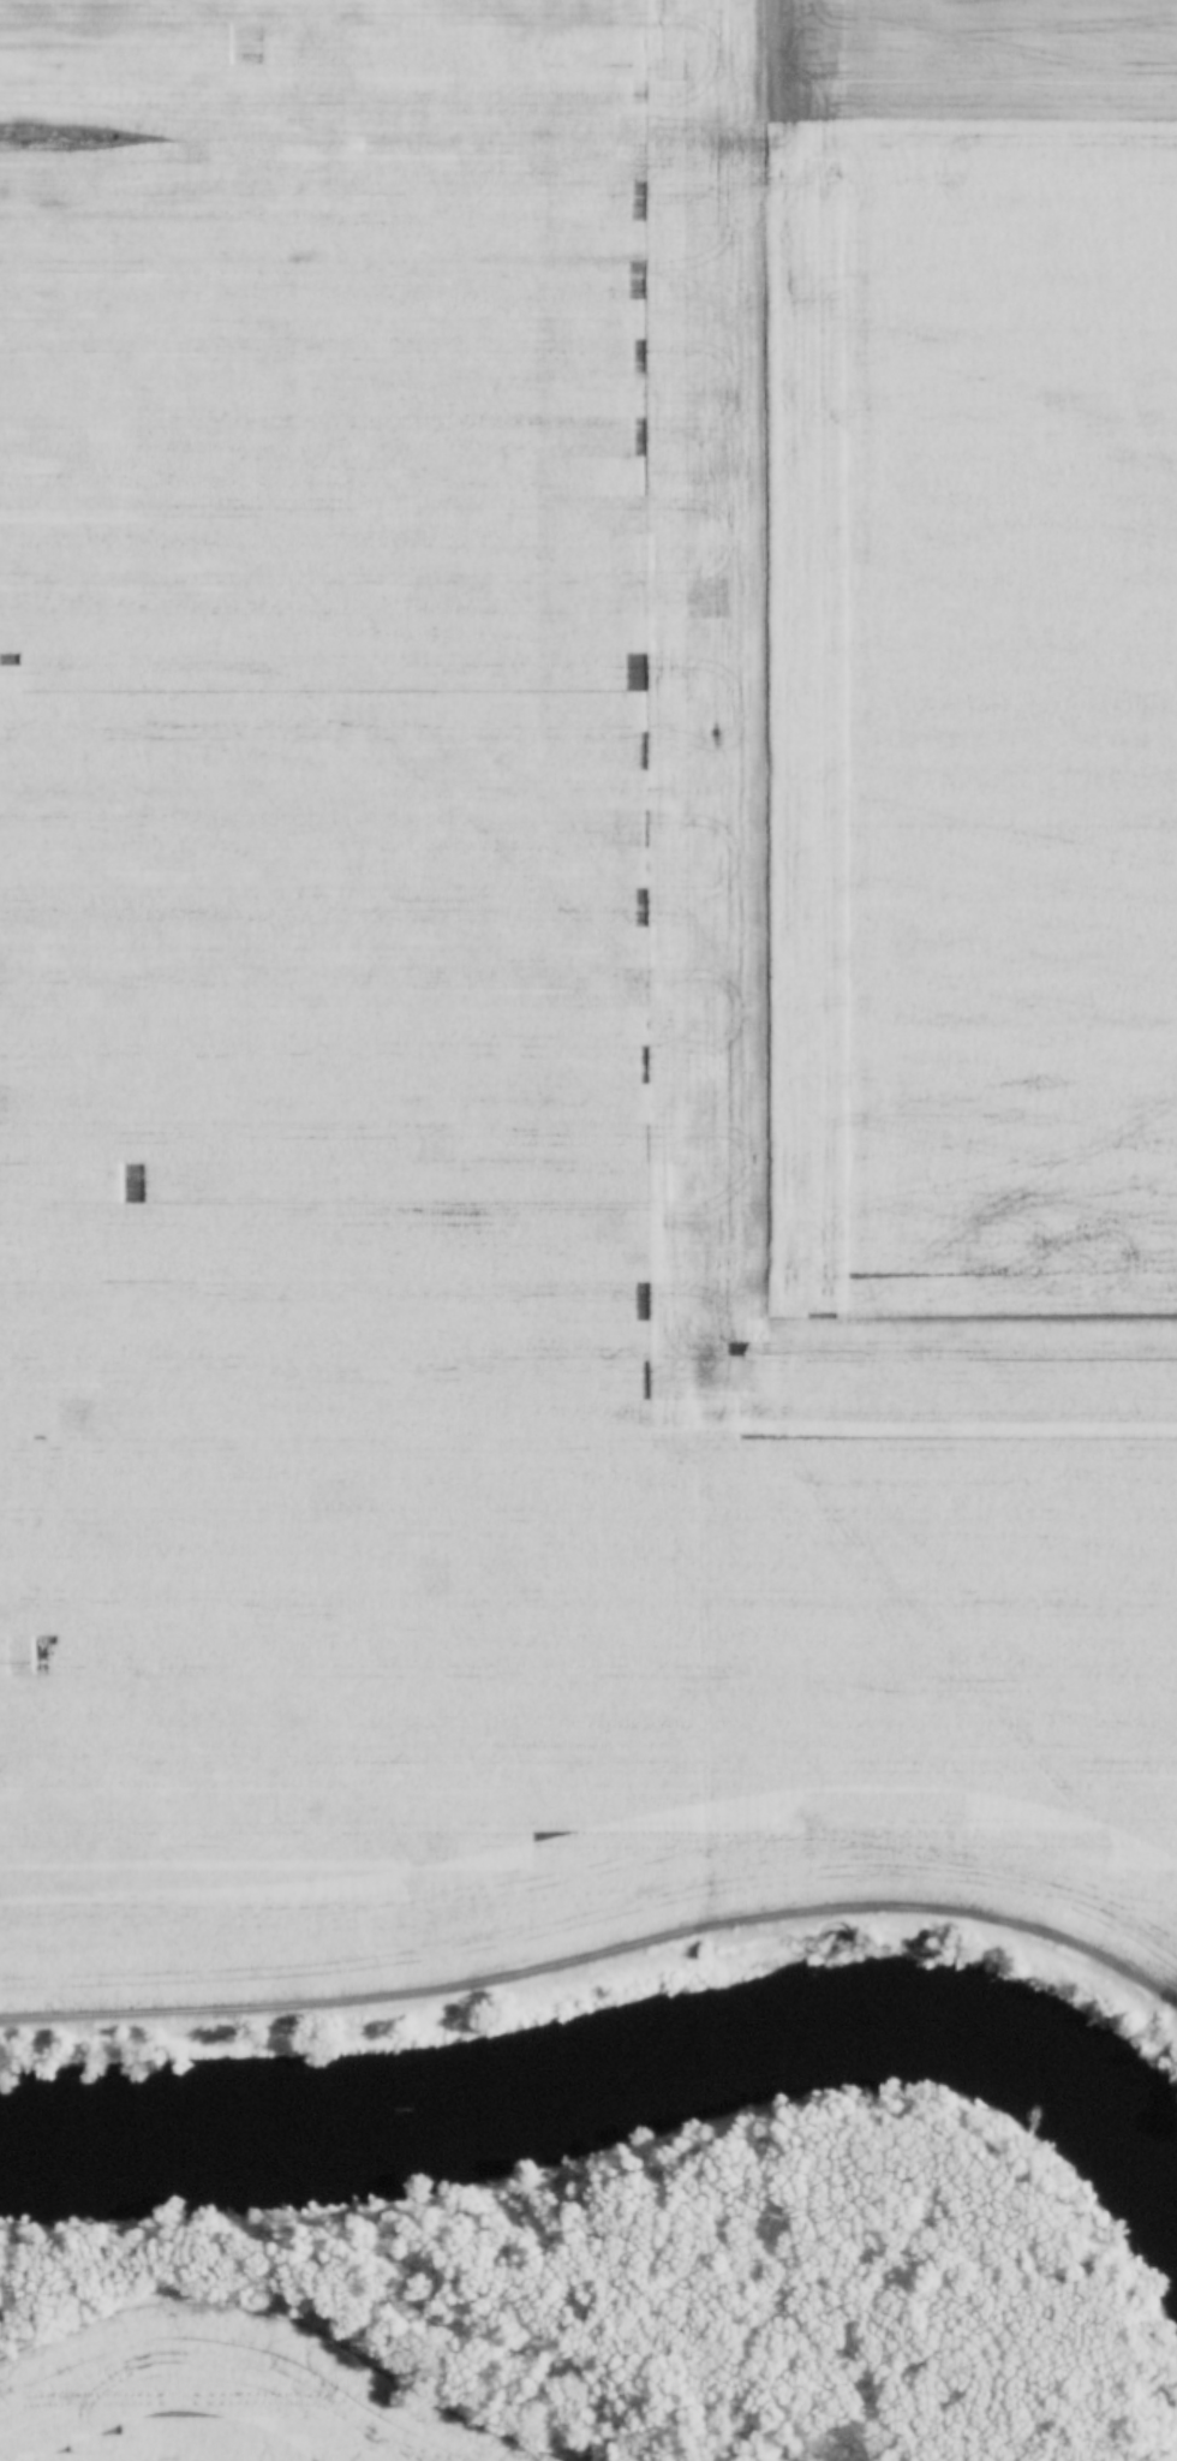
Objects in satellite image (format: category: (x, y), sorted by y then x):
river: (621, 2070)

